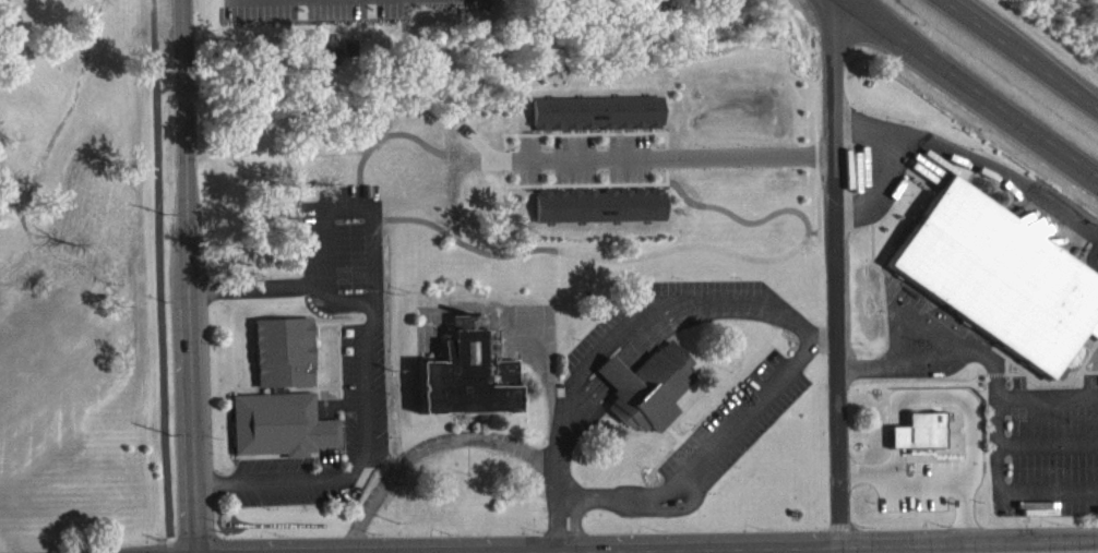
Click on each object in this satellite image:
road: (1025, 50)
building: (347, 59)
building: (323, 63)
road: (971, 88)
building: (595, 112)
road: (673, 158)
parking lot: (583, 159)
road: (972, 164)
road: (878, 189)
building: (598, 205)
road: (193, 276)
road: (834, 276)
building: (998, 277)
road: (374, 296)
road: (786, 316)
road: (824, 338)
building: (466, 384)
road: (994, 396)
road: (1046, 398)
building: (645, 399)
building: (279, 406)
building: (917, 443)
road: (428, 444)
road: (572, 524)
road: (557, 525)
road: (1012, 552)

